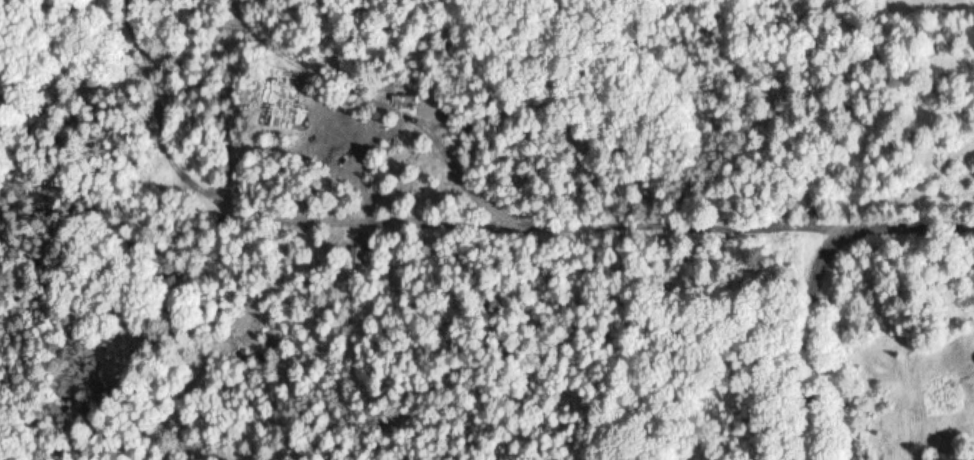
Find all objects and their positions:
road: (820, 279)

